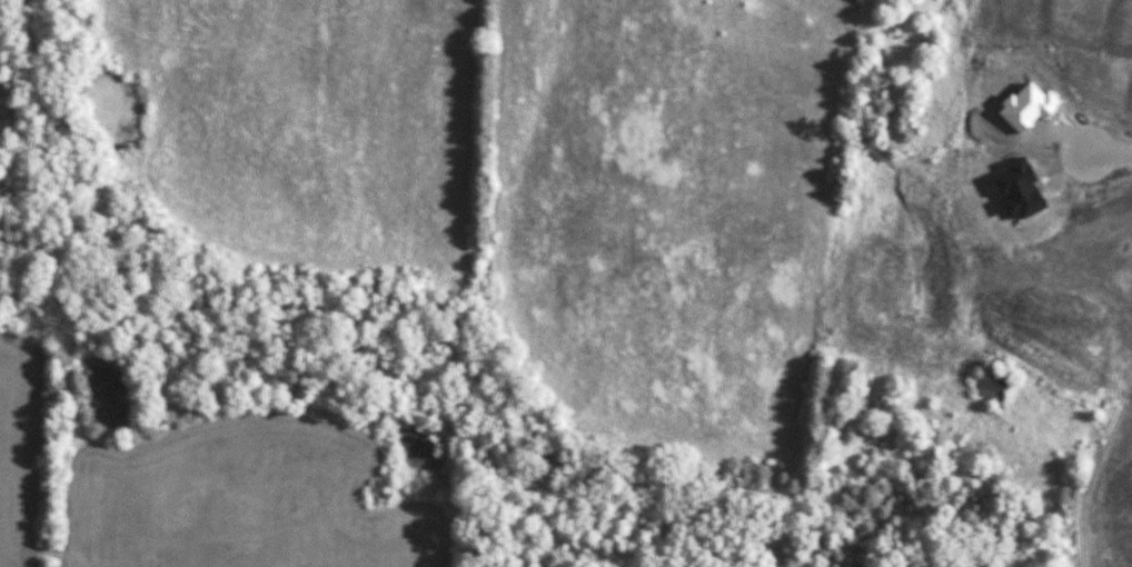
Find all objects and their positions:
road: (1110, 155)
building: (1032, 229)
building: (992, 382)

